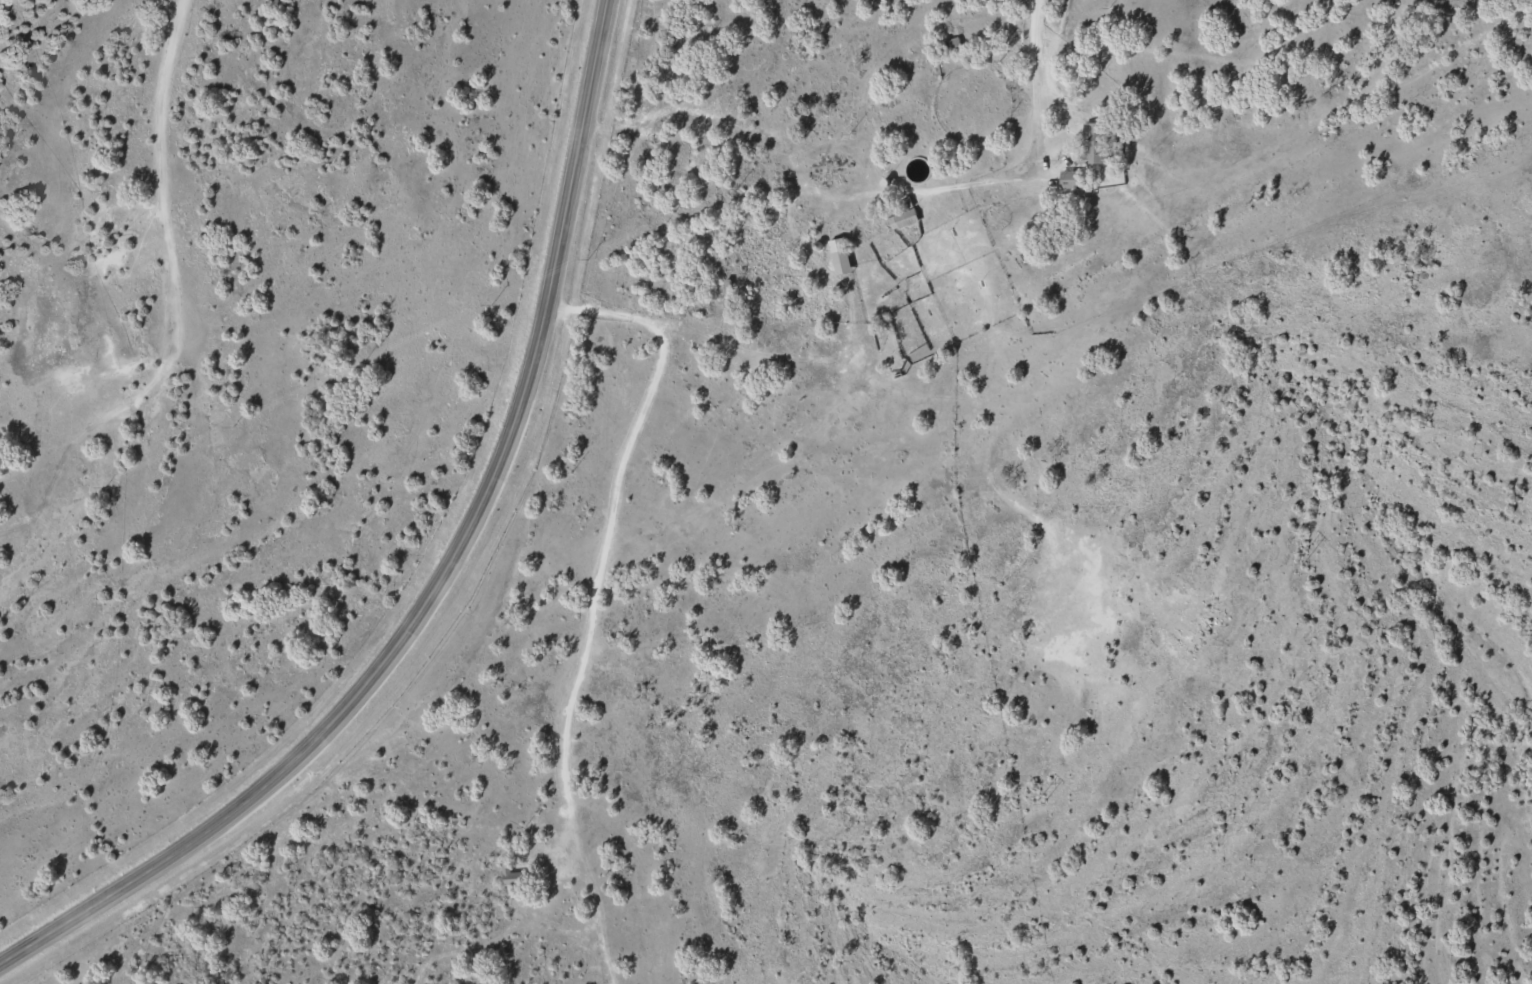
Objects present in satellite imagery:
building: (946, 45)
road: (1041, 96)
building: (1088, 145)
building: (896, 218)
building: (834, 258)
power tower: (1304, 563)
road: (449, 578)
power tower: (1036, 804)
building: (509, 879)

